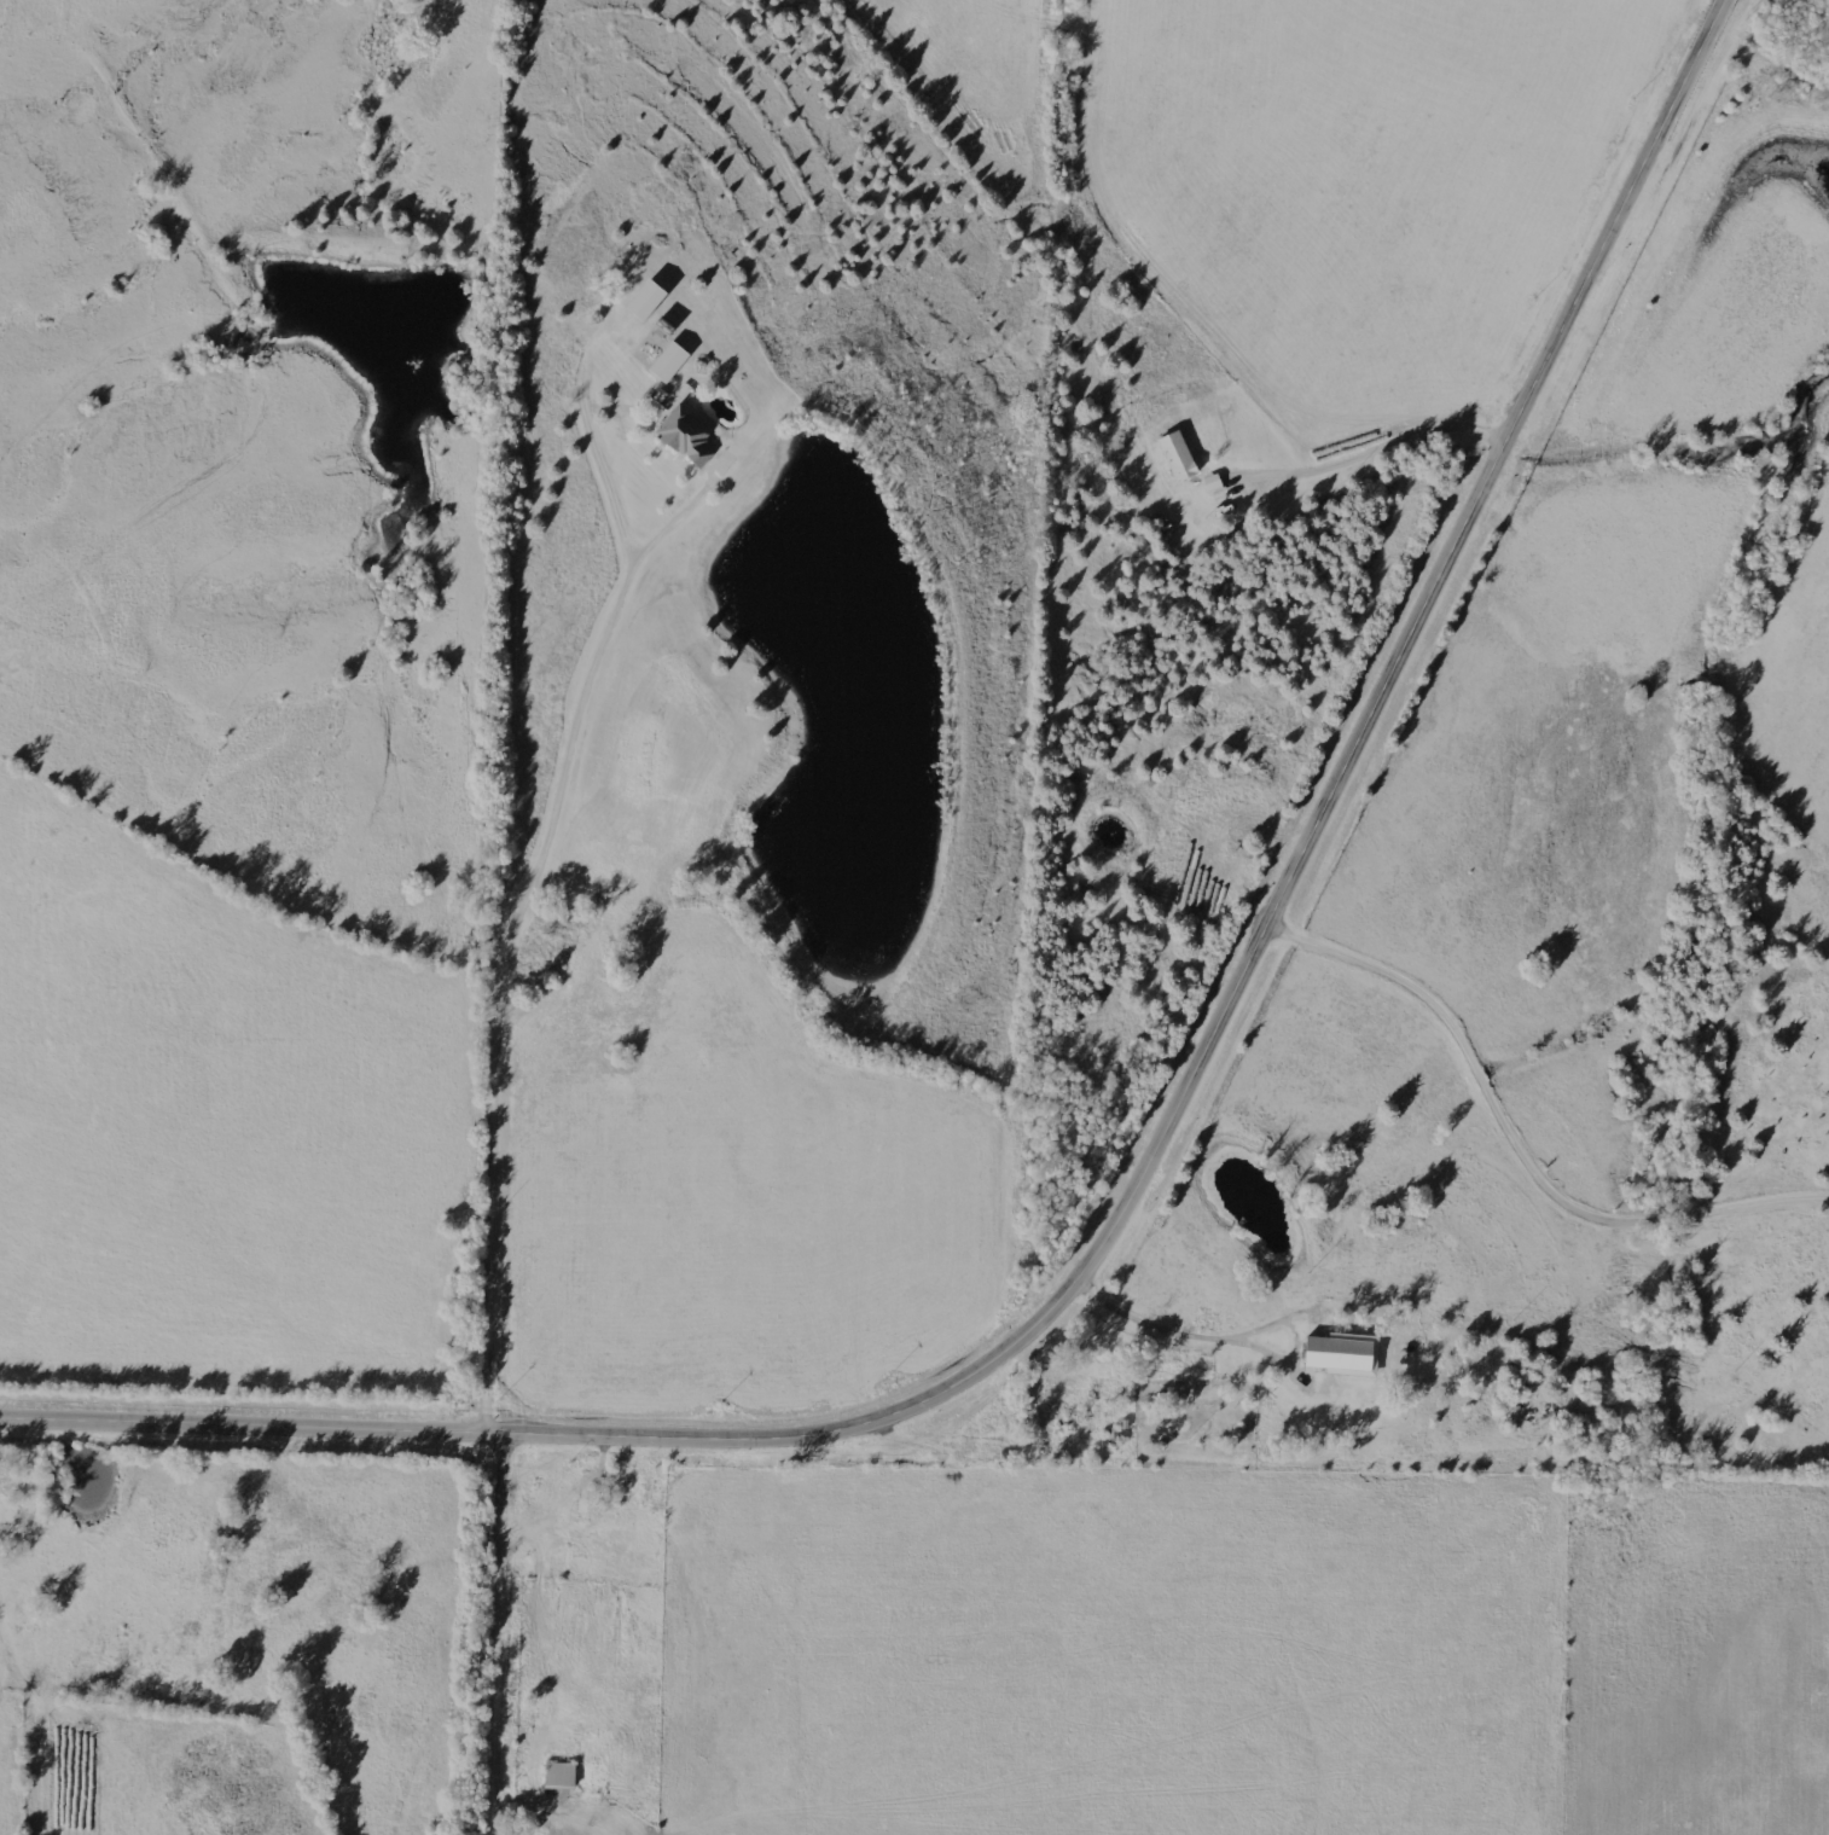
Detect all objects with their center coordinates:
building: (648, 301)
building: (670, 362)
building: (689, 436)
building: (1179, 458)
building: (1215, 486)
road: (1161, 1150)
road: (493, 1200)
building: (1345, 1355)
road: (503, 1632)
building: (561, 1777)

